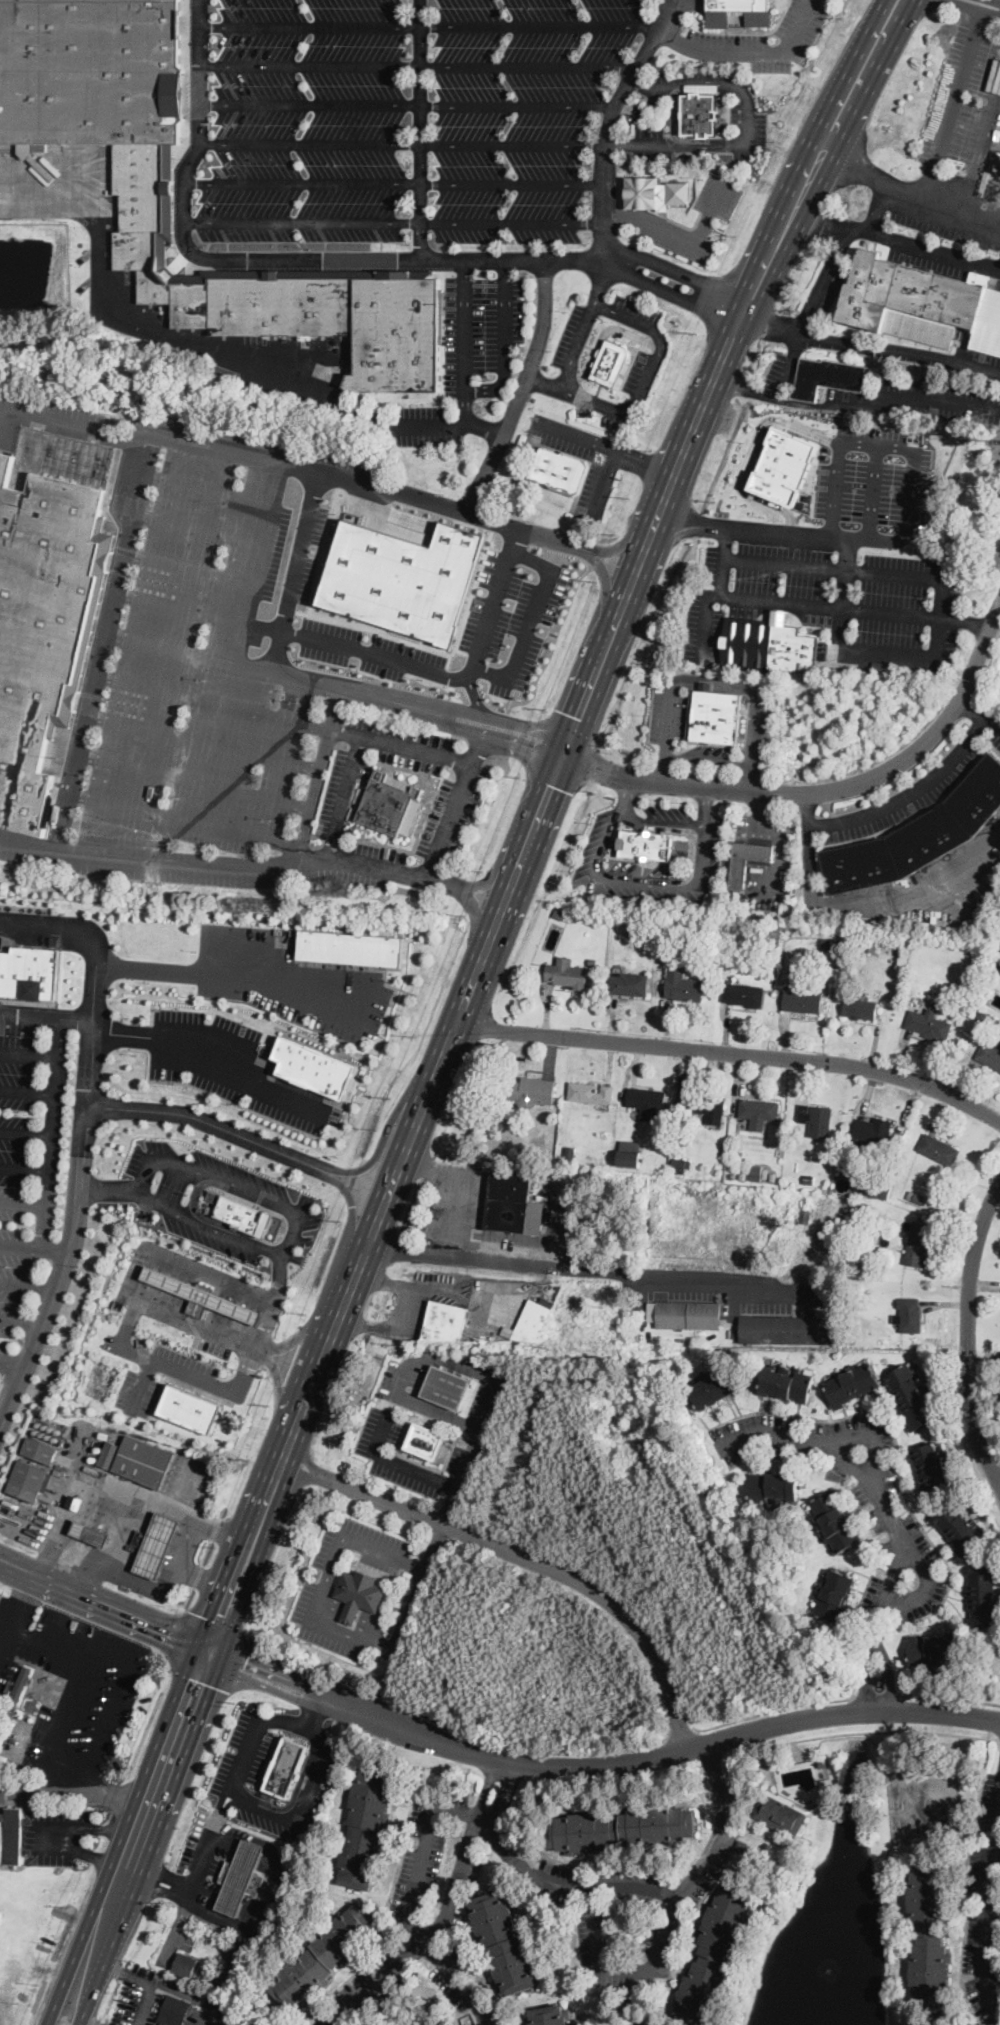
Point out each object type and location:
building: (735, 4)
road: (986, 4)
road: (429, 25)
parking lot: (762, 39)
road: (746, 49)
road: (418, 65)
building: (92, 72)
road: (652, 84)
parking lot: (963, 97)
road: (407, 104)
building: (642, 114)
road: (675, 114)
building: (699, 114)
parking lot: (401, 124)
road: (422, 127)
road: (402, 142)
road: (737, 145)
road: (871, 176)
road: (397, 182)
road: (926, 186)
building: (654, 191)
building: (139, 204)
road: (878, 209)
parking lot: (653, 218)
road: (397, 221)
road: (681, 232)
road: (896, 241)
road: (407, 256)
road: (681, 272)
road: (603, 279)
road: (823, 279)
building: (154, 286)
road: (674, 295)
building: (281, 301)
building: (921, 303)
building: (192, 304)
road: (772, 322)
building: (395, 330)
road: (158, 331)
road: (602, 336)
road: (505, 339)
road: (899, 349)
building: (611, 362)
road: (464, 373)
building: (828, 378)
road: (543, 380)
road: (520, 387)
road: (747, 389)
road: (853, 405)
road: (622, 410)
road: (76, 414)
road: (482, 429)
road: (878, 443)
road: (608, 446)
road: (748, 450)
road: (647, 461)
building: (783, 464)
building: (561, 470)
parking lot: (874, 476)
road: (203, 489)
road: (872, 491)
road: (664, 506)
road: (768, 510)
road: (195, 525)
road: (513, 527)
road: (777, 530)
road: (256, 542)
road: (847, 556)
road: (723, 559)
road: (187, 564)
road: (294, 572)
building: (403, 578)
road: (937, 583)
parking lot: (829, 592)
road: (781, 600)
road: (902, 614)
parking lot: (511, 615)
building: (45, 620)
road: (529, 621)
road: (707, 625)
road: (103, 639)
building: (769, 646)
road: (366, 650)
road: (222, 660)
parking lot: (232, 663)
building: (886, 665)
road: (713, 678)
road: (476, 699)
road: (213, 700)
road: (980, 711)
building: (714, 716)
road: (453, 717)
parking lot: (402, 732)
road: (203, 742)
road: (477, 743)
traffic signals: (563, 756)
road: (457, 760)
parking lot: (410, 762)
parking lot: (365, 768)
road: (194, 780)
road: (823, 790)
road: (909, 791)
parking lot: (333, 793)
road: (627, 797)
road: (342, 798)
building: (387, 803)
road: (702, 806)
parking lot: (469, 815)
road: (185, 818)
parking lot: (436, 818)
building: (918, 835)
road: (29, 842)
building: (645, 844)
parking lot: (379, 852)
road: (313, 861)
building: (738, 873)
road: (687, 886)
road: (863, 903)
road: (59, 925)
parking lot: (238, 934)
building: (349, 948)
building: (29, 971)
building: (566, 973)
road: (236, 975)
building: (628, 983)
building: (683, 985)
road: (94, 992)
parking lot: (223, 992)
building: (743, 992)
building: (802, 1000)
parking lot: (281, 1007)
building: (860, 1007)
parking lot: (380, 1012)
road: (30, 1013)
parking lot: (177, 1016)
building: (927, 1023)
parking lot: (237, 1028)
parking lot: (336, 1030)
road: (90, 1045)
road: (734, 1051)
road: (28, 1053)
road: (446, 1053)
building: (990, 1053)
road: (211, 1061)
building: (313, 1066)
road: (27, 1089)
building: (529, 1090)
building: (590, 1091)
parking lot: (239, 1099)
building: (647, 1100)
building: (707, 1104)
building: (757, 1110)
parking lot: (336, 1116)
building: (815, 1118)
building: (872, 1129)
road: (25, 1132)
road: (51, 1132)
road: (382, 1141)
building: (939, 1148)
road: (80, 1151)
building: (630, 1152)
road: (401, 1162)
building: (678, 1164)
road: (24, 1167)
parking lot: (22, 1175)
road: (460, 1187)
building: (875, 1187)
parking lot: (171, 1188)
parking lot: (279, 1190)
road: (123, 1191)
road: (282, 1202)
road: (23, 1203)
building: (513, 1205)
road: (351, 1207)
road: (194, 1208)
building: (243, 1213)
parking lot: (210, 1240)
building: (917, 1242)
road: (35, 1248)
road: (364, 1254)
road: (578, 1266)
road: (281, 1278)
road: (28, 1283)
road: (350, 1289)
gas station: (205, 1295)
building: (206, 1299)
road: (273, 1302)
building: (685, 1313)
building: (908, 1313)
road: (21, 1320)
building: (445, 1320)
building: (532, 1320)
building: (787, 1329)
road: (968, 1334)
road: (299, 1338)
road: (121, 1341)
parking lot: (186, 1360)
road: (12, 1363)
road: (168, 1365)
road: (317, 1369)
parking lot: (419, 1375)
parking lot: (388, 1379)
road: (279, 1382)
building: (786, 1382)
building: (852, 1383)
building: (446, 1385)
building: (714, 1388)
parking lot: (127, 1389)
road: (234, 1394)
building: (910, 1396)
road: (400, 1397)
parking lot: (150, 1399)
parking lot: (479, 1400)
building: (191, 1407)
road: (965, 1435)
road: (871, 1436)
building: (425, 1439)
road: (287, 1443)
building: (39, 1449)
building: (110, 1454)
parking lot: (376, 1455)
building: (142, 1461)
road: (399, 1462)
building: (931, 1466)
building: (28, 1479)
road: (187, 1484)
building: (774, 1487)
road: (126, 1489)
building: (76, 1501)
road: (889, 1511)
building: (835, 1521)
building: (959, 1528)
building: (90, 1533)
parking lot: (376, 1535)
road: (185, 1541)
gas station: (155, 1543)
building: (154, 1545)
parking lot: (326, 1546)
road: (432, 1547)
road: (242, 1554)
road: (384, 1555)
road: (527, 1555)
road: (128, 1576)
road: (88, 1579)
road: (928, 1584)
building: (359, 1593)
building: (835, 1595)
building: (982, 1597)
parking lot: (304, 1601)
road: (103, 1605)
road: (357, 1614)
road: (352, 1636)
parking lot: (333, 1645)
building: (934, 1647)
traffic signals: (208, 1650)
road: (103, 1661)
building: (21, 1684)
road: (876, 1693)
road: (950, 1696)
road: (309, 1709)
road: (772, 1710)
road: (58, 1717)
road: (448, 1727)
road: (864, 1731)
road: (680, 1732)
road: (597, 1764)
building: (285, 1766)
road: (75, 1792)
road: (292, 1799)
building: (779, 1814)
road: (297, 1815)
road: (141, 1821)
building: (365, 1827)
building: (621, 1827)
road: (59, 1832)
building: (13, 1836)
road: (999, 1838)
road: (999, 1848)
road: (196, 1870)
building: (241, 1876)
gas station: (241, 1876)
road: (621, 1883)
road: (701, 1898)
road: (986, 1929)
building: (928, 1931)
road: (428, 1941)
building: (504, 1942)
road: (417, 1948)
building: (712, 1954)
building: (322, 1957)
building: (184, 1964)
road: (623, 1969)
road: (122, 1970)
road: (143, 2005)
road: (60, 2008)
road: (76, 2009)
building: (173, 2011)
building: (550, 2015)
building: (947, 2023)

